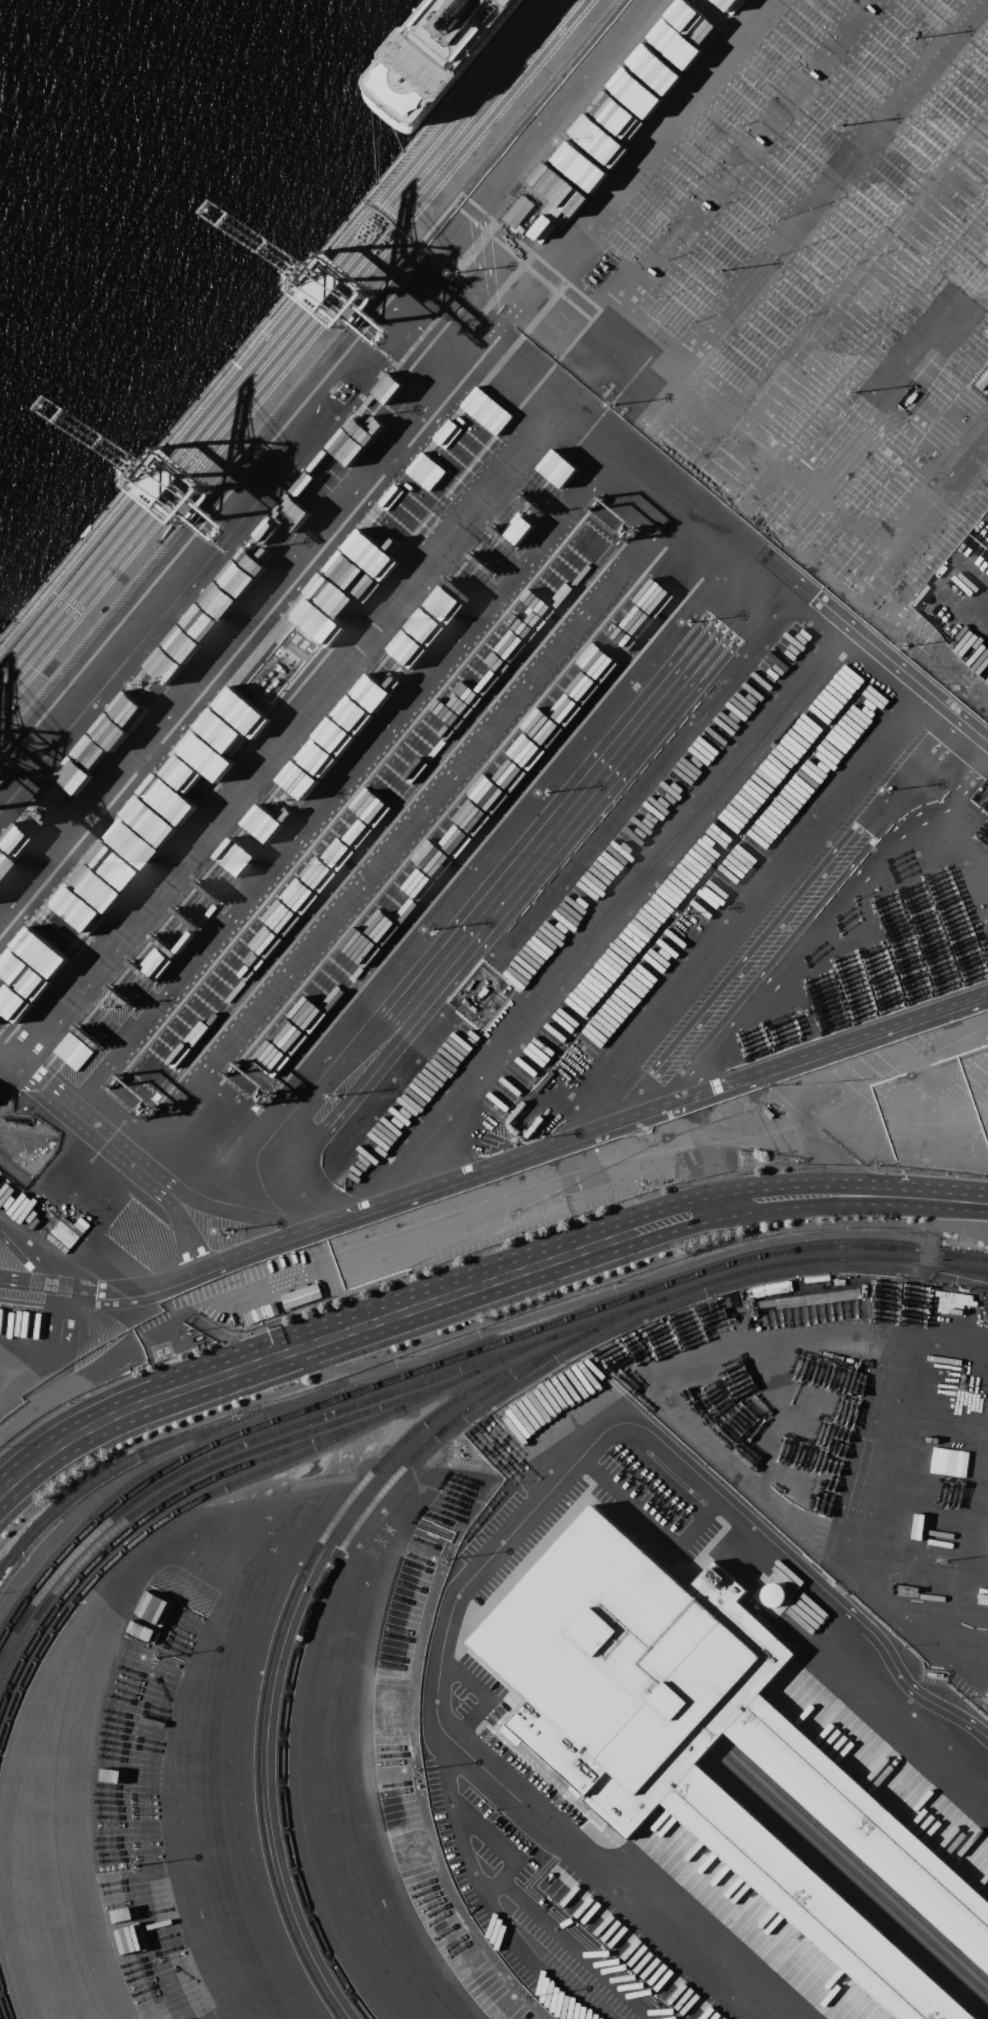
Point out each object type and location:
road: (551, 101)
building: (518, 212)
road: (434, 234)
road: (894, 386)
building: (388, 389)
road: (735, 443)
road: (385, 452)
road: (201, 499)
road: (694, 509)
building: (674, 557)
road: (527, 566)
building: (696, 571)
road: (970, 595)
building: (287, 656)
road: (286, 733)
road: (407, 829)
road: (494, 896)
road: (748, 908)
road: (605, 913)
road: (809, 1133)
road: (528, 1154)
road: (128, 1155)
road: (820, 1196)
road: (927, 1200)
road: (27, 1260)
road: (33, 1284)
road: (459, 1295)
road: (225, 1298)
road: (475, 1327)
road: (60, 1354)
railway: (454, 1357)
road: (166, 1363)
railway: (339, 1371)
railway: (451, 1372)
road: (29, 1378)
road: (75, 1383)
road: (685, 1418)
railway: (183, 1440)
road: (68, 1442)
road: (873, 1446)
railway: (193, 1476)
railway: (220, 1490)
railway: (152, 1514)
road: (224, 1523)
road: (506, 1535)
railway: (323, 1592)
railway: (290, 1619)
building: (985, 1698)
road: (338, 1719)
building: (706, 1740)
road: (463, 1844)
road: (497, 1845)
railway: (855, 1860)
railway: (851, 1870)
railway: (848, 1880)
railway: (843, 1890)
road: (575, 1948)
railway: (6, 1998)

